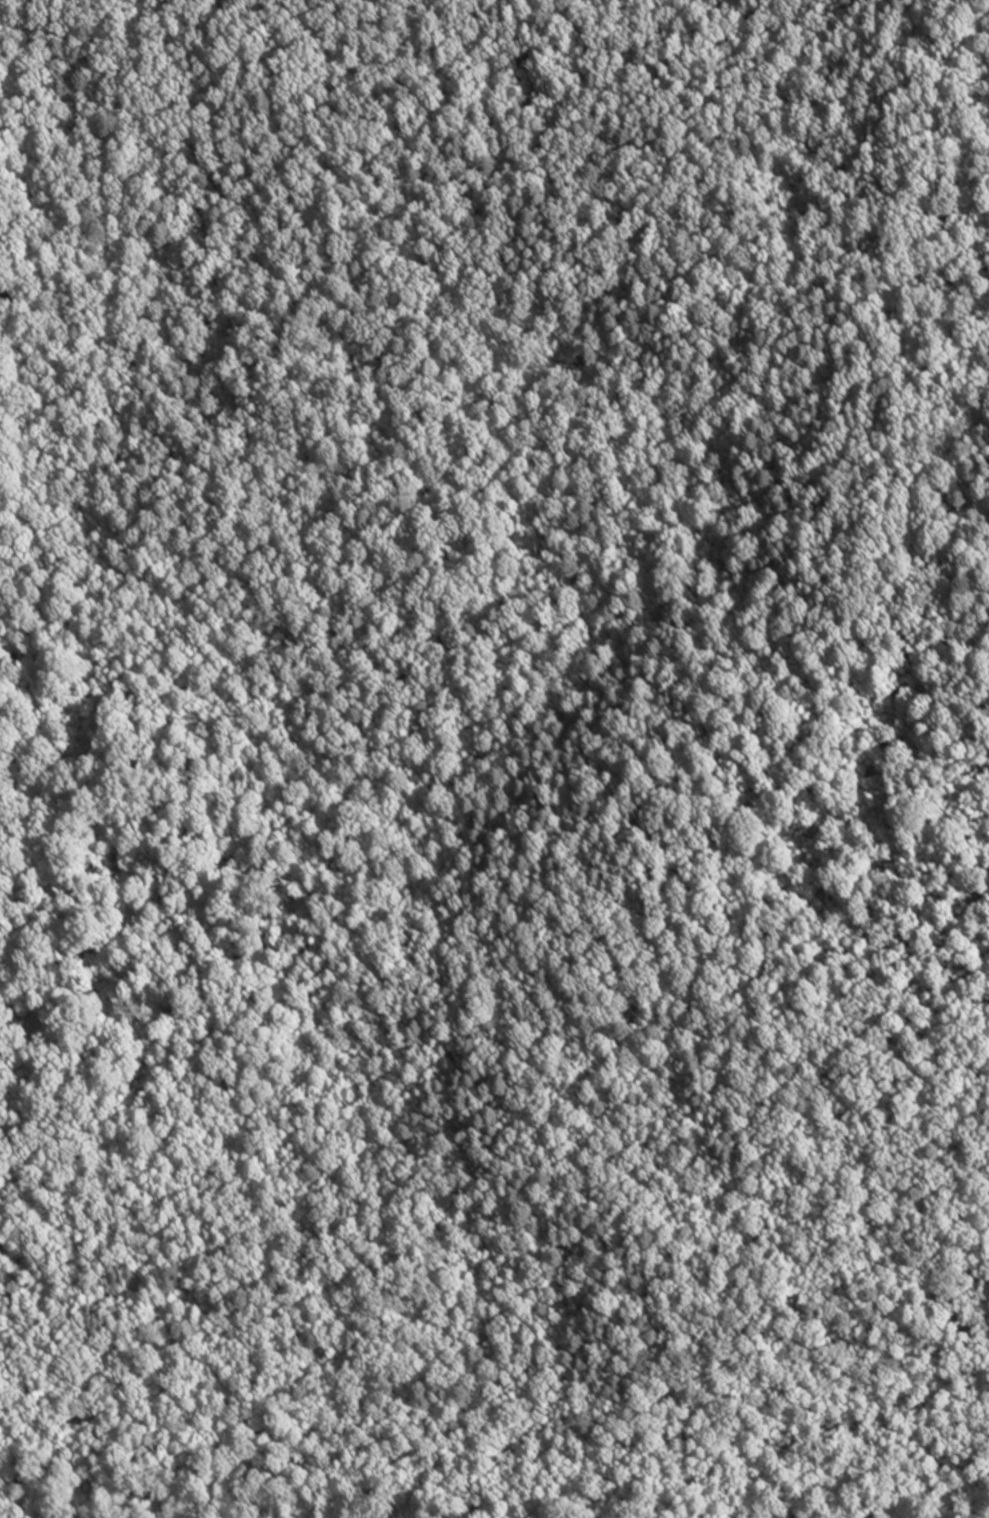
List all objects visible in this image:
road: (324, 750)

